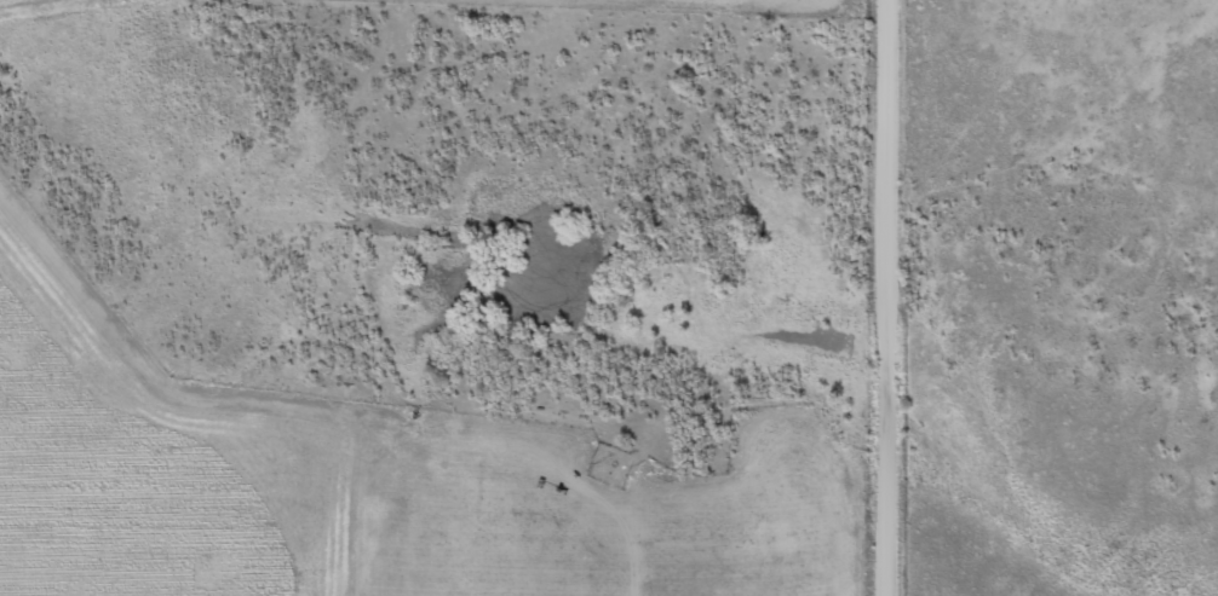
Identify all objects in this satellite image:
road: (889, 297)

